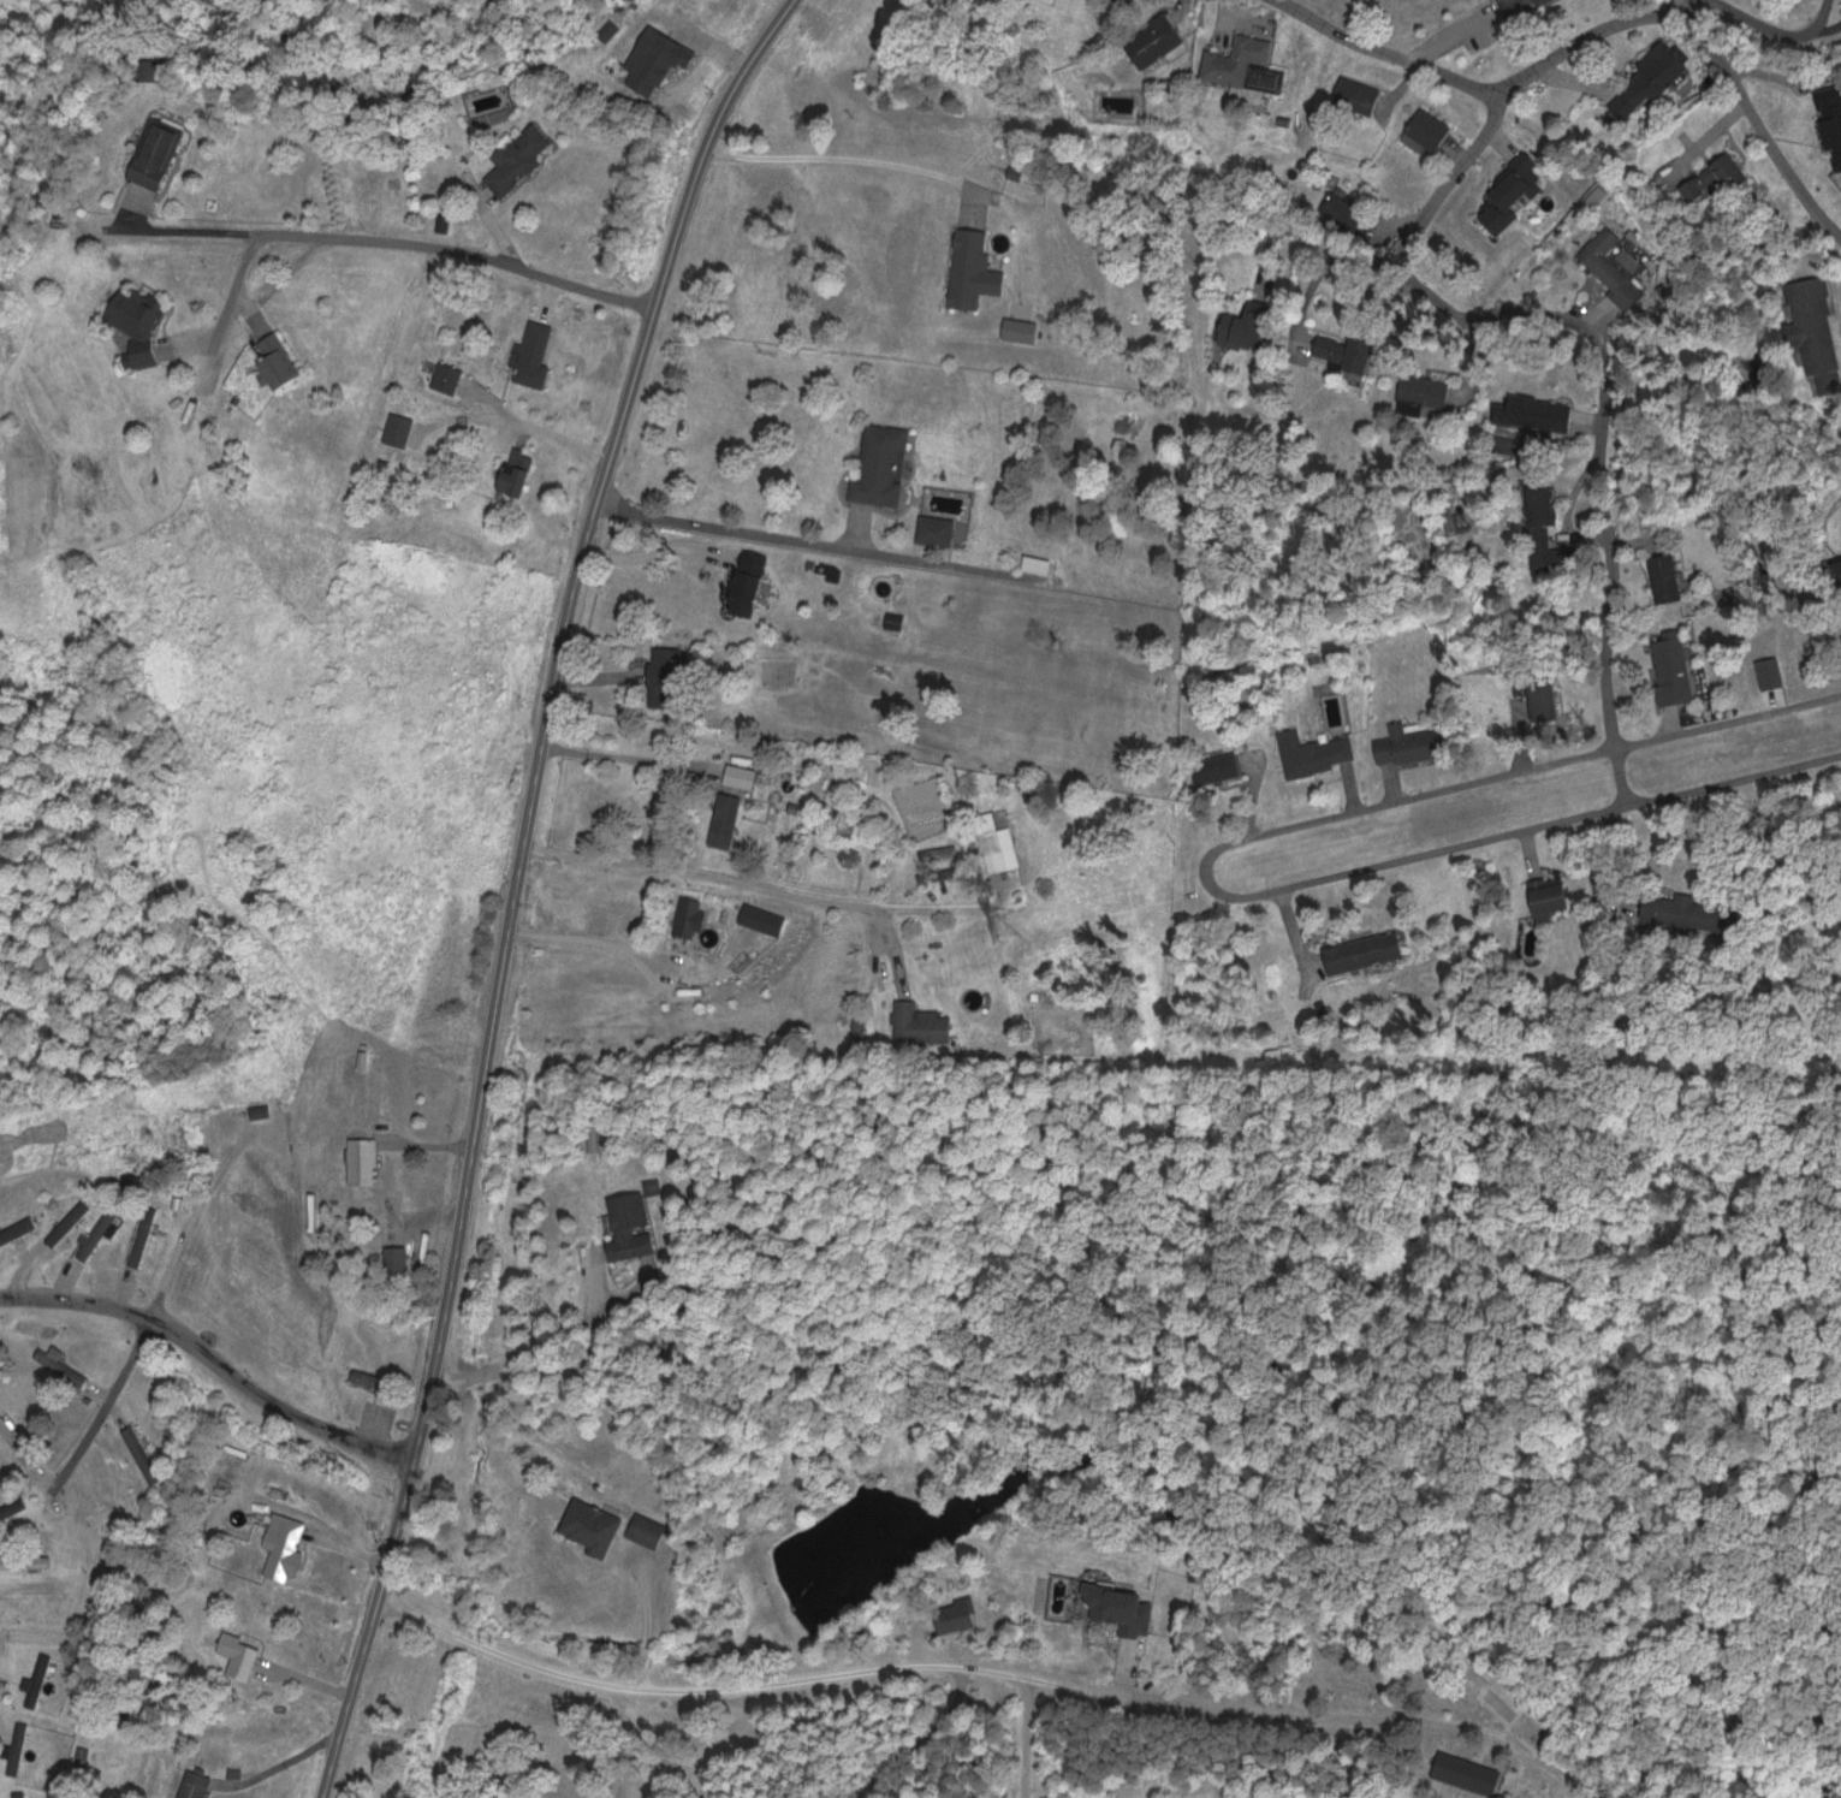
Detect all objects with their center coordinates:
building: (1522, 6)
road: (1682, 7)
road: (1771, 24)
building: (608, 29)
road: (1601, 30)
building: (1154, 38)
road: (1821, 48)
building: (1243, 64)
building: (1656, 73)
building: (1359, 95)
building: (1831, 118)
building: (1430, 127)
building: (156, 153)
building: (517, 158)
road: (1448, 178)
building: (1715, 178)
building: (1512, 194)
road: (380, 238)
road: (1328, 250)
building: (1611, 266)
building: (973, 269)
building: (136, 313)
building: (1248, 324)
building: (1815, 332)
building: (1344, 350)
building: (534, 354)
building: (147, 357)
building: (279, 361)
building: (446, 376)
building: (1425, 391)
building: (1524, 410)
building: (399, 428)
road: (1599, 455)
building: (881, 464)
building: (517, 470)
building: (1543, 504)
building: (936, 529)
building: (1037, 563)
building: (1840, 564)
building: (1665, 576)
building: (1671, 666)
building: (666, 676)
building: (1545, 705)
building: (1409, 743)
building: (1314, 752)
road: (620, 756)
building: (1217, 767)
building: (991, 841)
building: (938, 851)
road: (1205, 868)
building: (939, 874)
road: (717, 876)
road: (517, 884)
building: (1551, 897)
building: (1687, 912)
building: (685, 916)
building: (765, 920)
power tower: (1004, 924)
road: (586, 939)
building: (1364, 951)
building: (919, 1023)
building: (260, 1110)
building: (363, 1161)
building: (70, 1218)
building: (629, 1226)
building: (97, 1234)
building: (398, 1262)
road: (212, 1357)
building: (60, 1366)
building: (369, 1377)
road: (108, 1402)
building: (16, 1437)
building: (142, 1453)
building: (121, 1484)
building: (14, 1507)
building: (592, 1525)
building: (647, 1529)
building: (285, 1543)
building: (25, 1560)
building: (1122, 1608)
building: (34, 1633)
building: (240, 1654)
road: (899, 1666)
building: (37, 1677)
road: (1022, 1737)
road: (922, 1743)
road: (283, 1763)
building: (1466, 1772)
building: (196, 1781)
building: (25, 1792)

